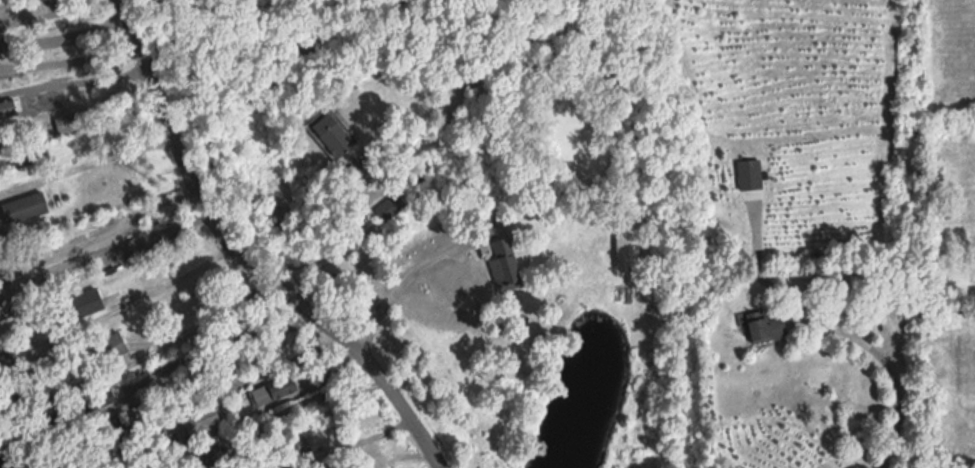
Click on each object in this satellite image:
road: (48, 12)
road: (65, 36)
road: (70, 60)
building: (7, 108)
building: (69, 122)
building: (332, 133)
building: (20, 158)
road: (86, 158)
building: (750, 173)
building: (390, 206)
building: (25, 207)
road: (105, 225)
road: (349, 239)
road: (245, 259)
building: (504, 264)
road: (398, 280)
road: (133, 297)
building: (87, 301)
building: (765, 325)
road: (171, 339)
road: (218, 340)
building: (99, 350)
building: (6, 361)
road: (893, 370)
road: (256, 374)
building: (274, 391)
building: (17, 396)
building: (193, 423)
building: (33, 433)
road: (359, 437)
building: (297, 447)
building: (205, 453)

